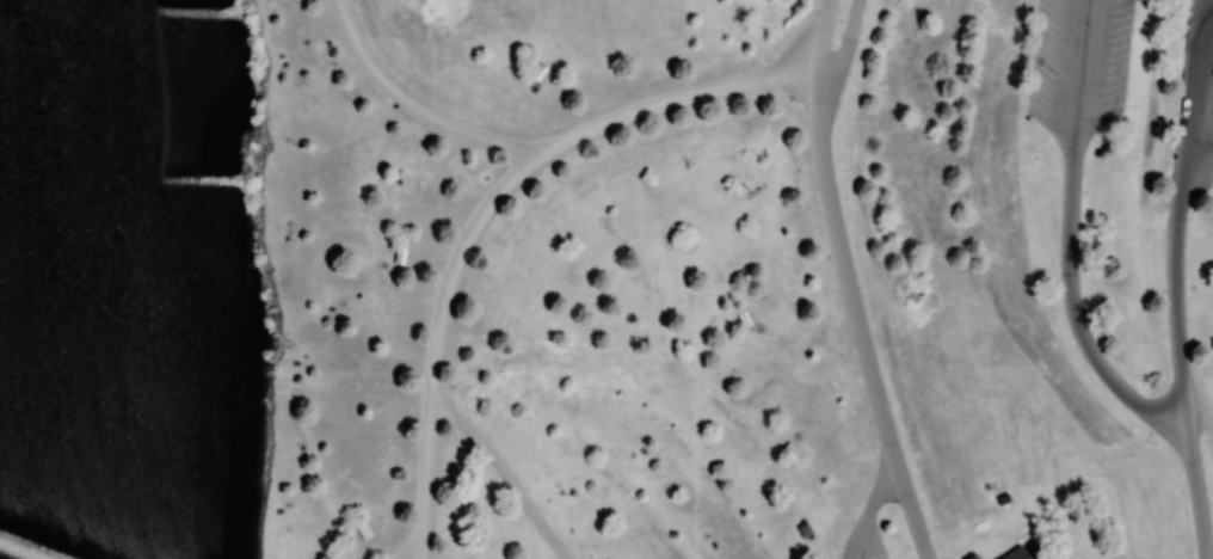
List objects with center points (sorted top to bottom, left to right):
road: (844, 45)
parking lot: (1077, 64)
parking lot: (1194, 103)
road: (487, 209)
road: (1066, 242)
park: (606, 279)
road: (1171, 279)
road: (844, 284)
road: (1196, 419)
road: (500, 474)
road: (907, 509)
parking lot: (862, 541)
building: (1014, 557)

